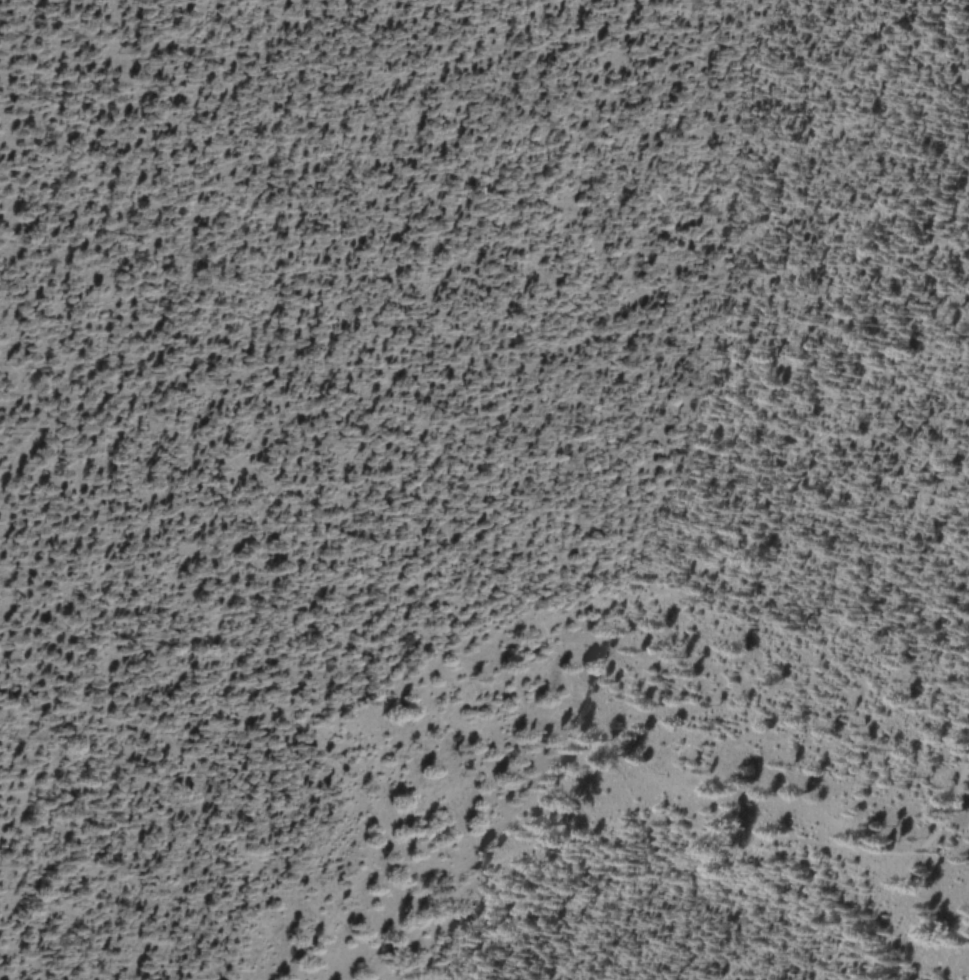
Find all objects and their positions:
road: (966, 752)
road: (966, 771)
road: (669, 829)

